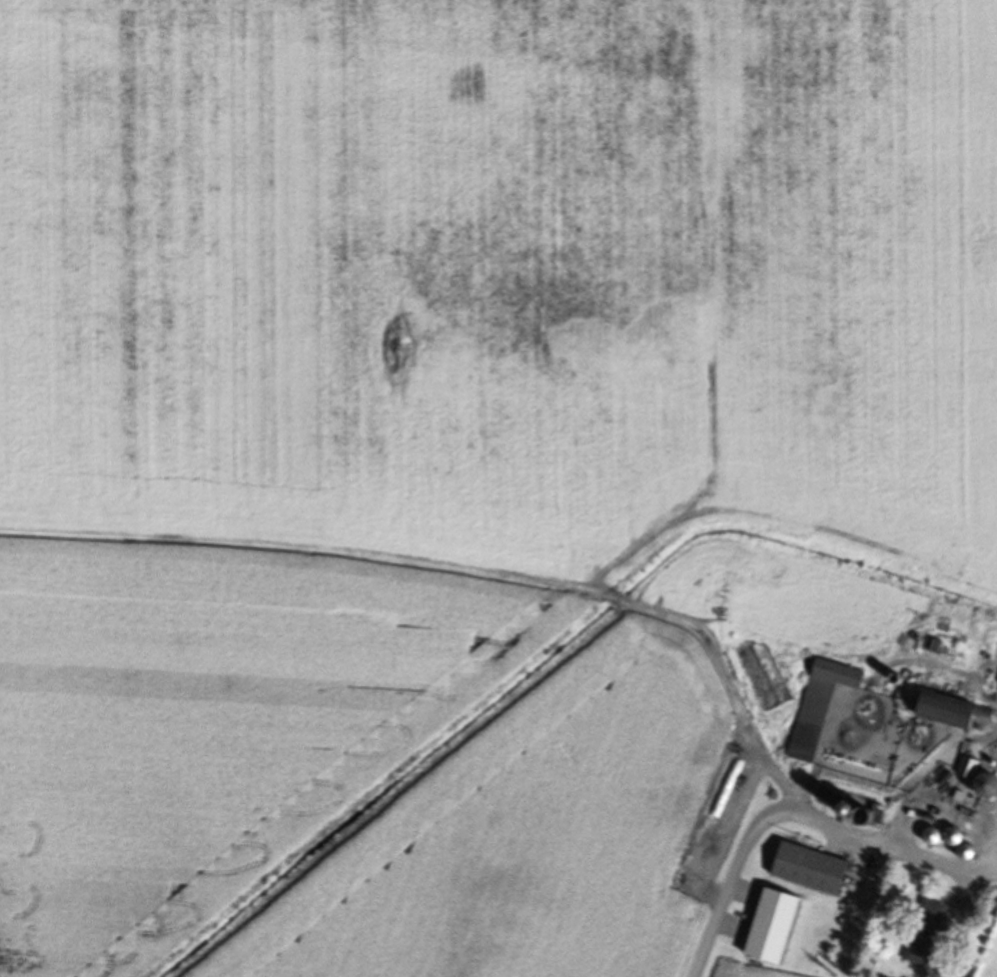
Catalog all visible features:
building: (996, 685)
building: (815, 709)
building: (936, 713)
building: (975, 788)
road: (795, 810)
road: (990, 851)
building: (805, 871)
building: (763, 929)
building: (920, 935)

